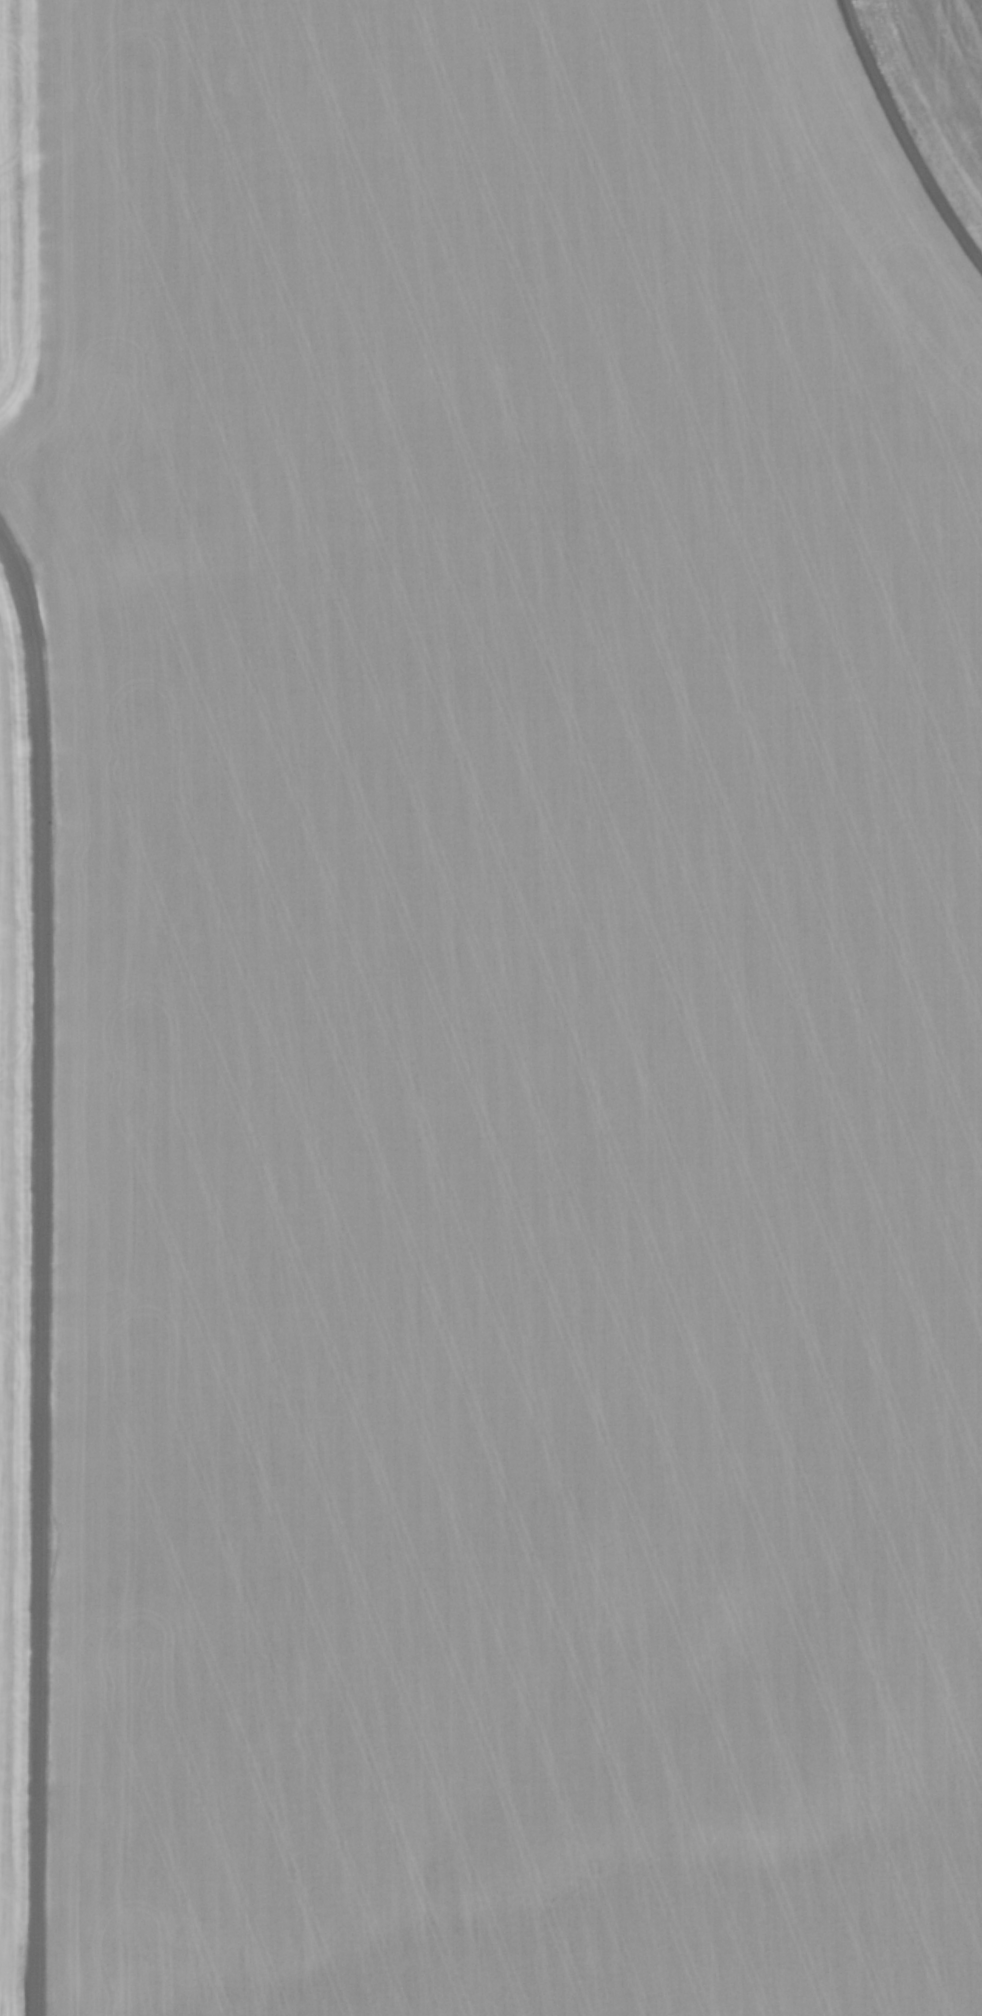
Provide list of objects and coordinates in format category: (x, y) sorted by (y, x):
road: (40, 1271)

